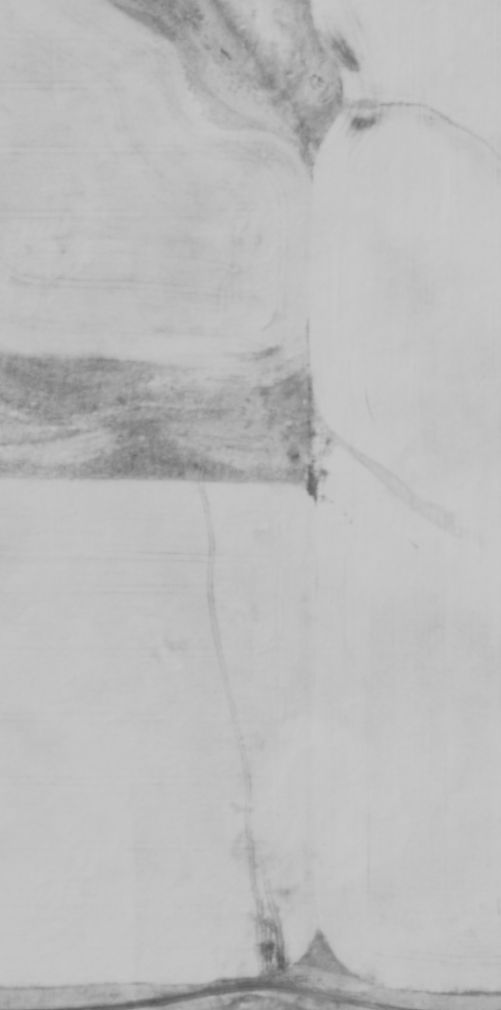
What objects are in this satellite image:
road: (250, 987)

